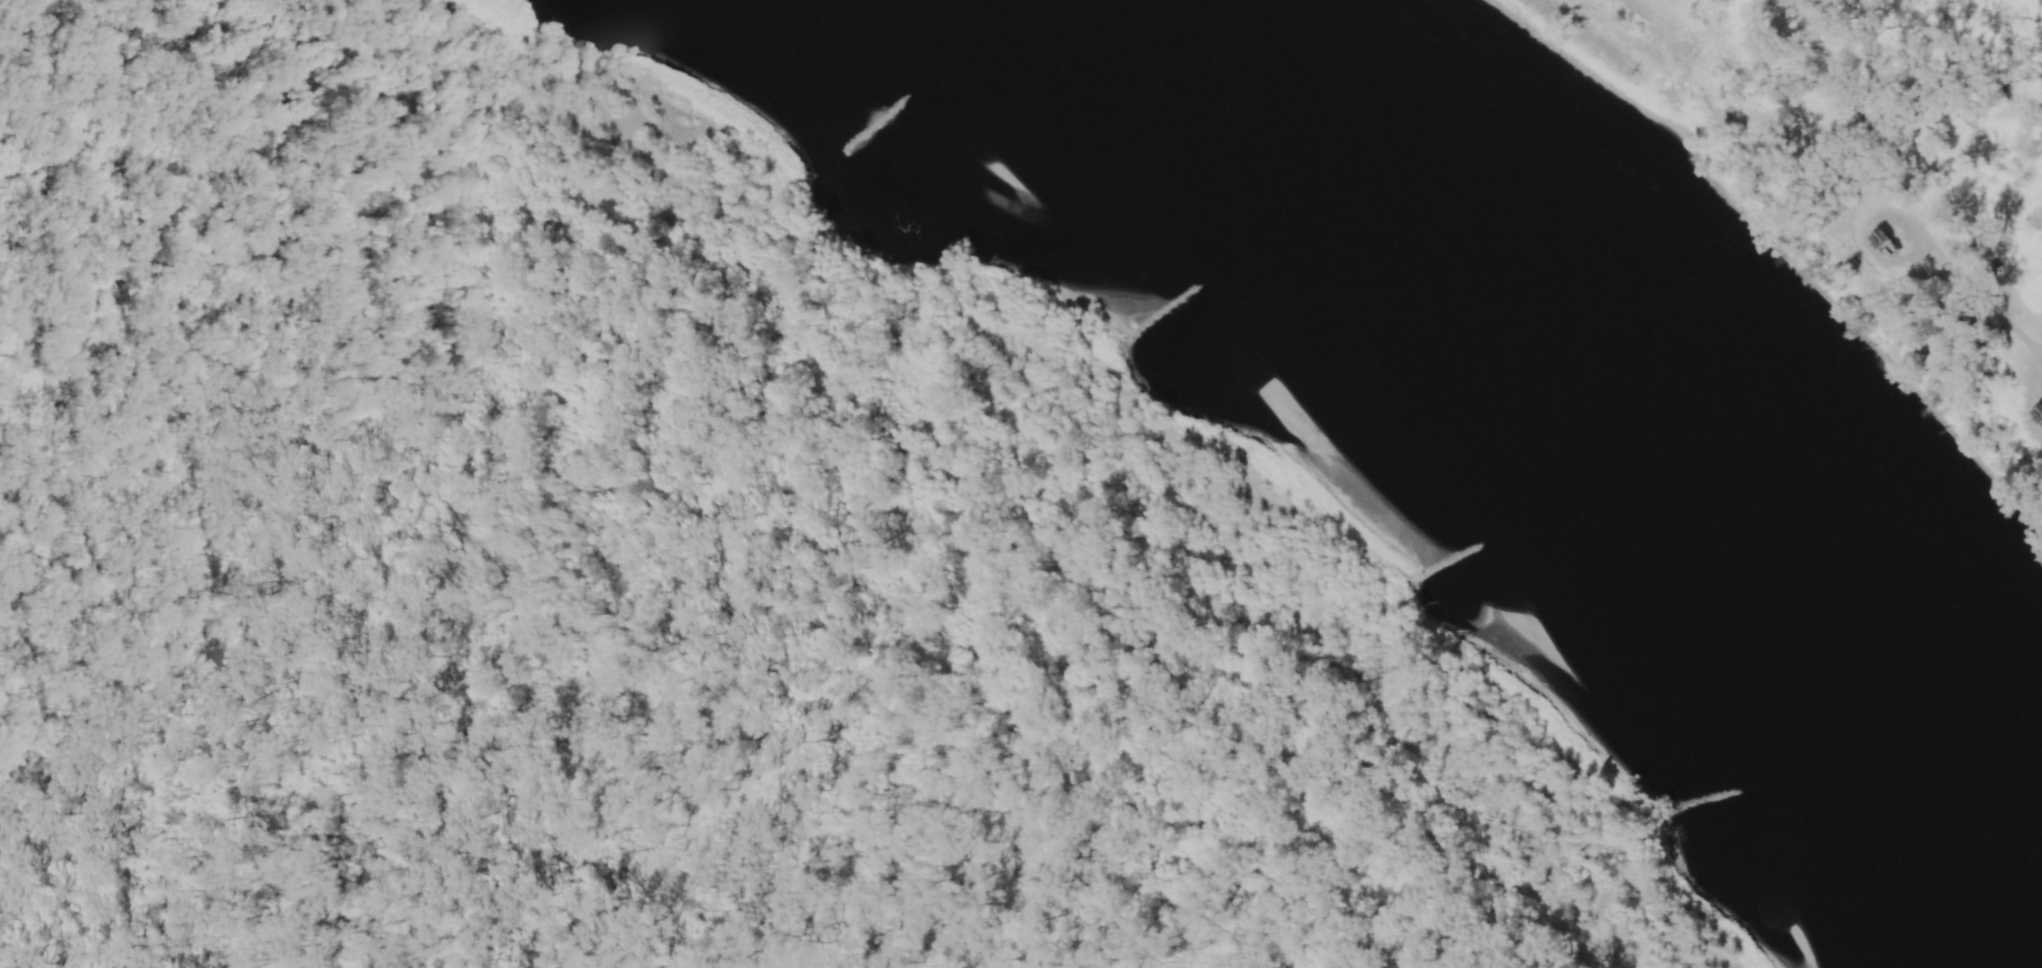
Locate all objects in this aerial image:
road: (1672, 29)
river: (1596, 420)

